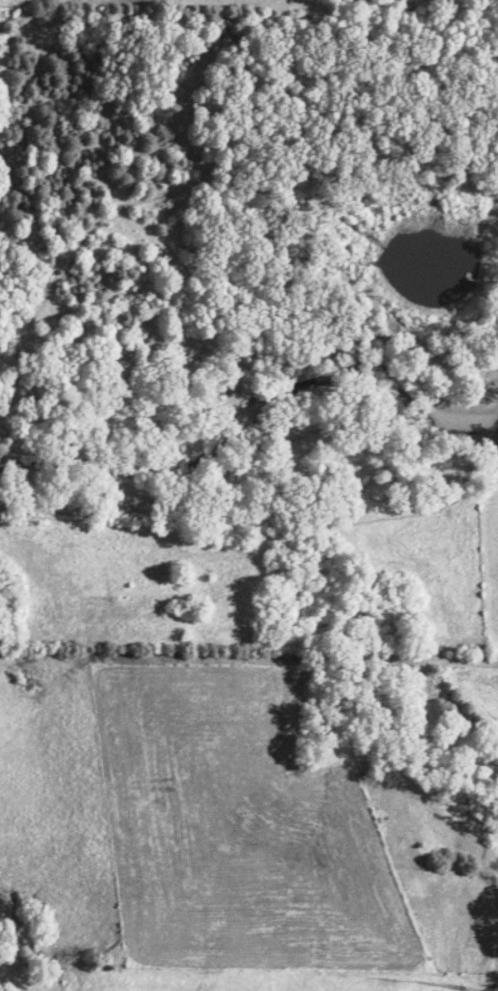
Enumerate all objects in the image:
road: (308, 974)

